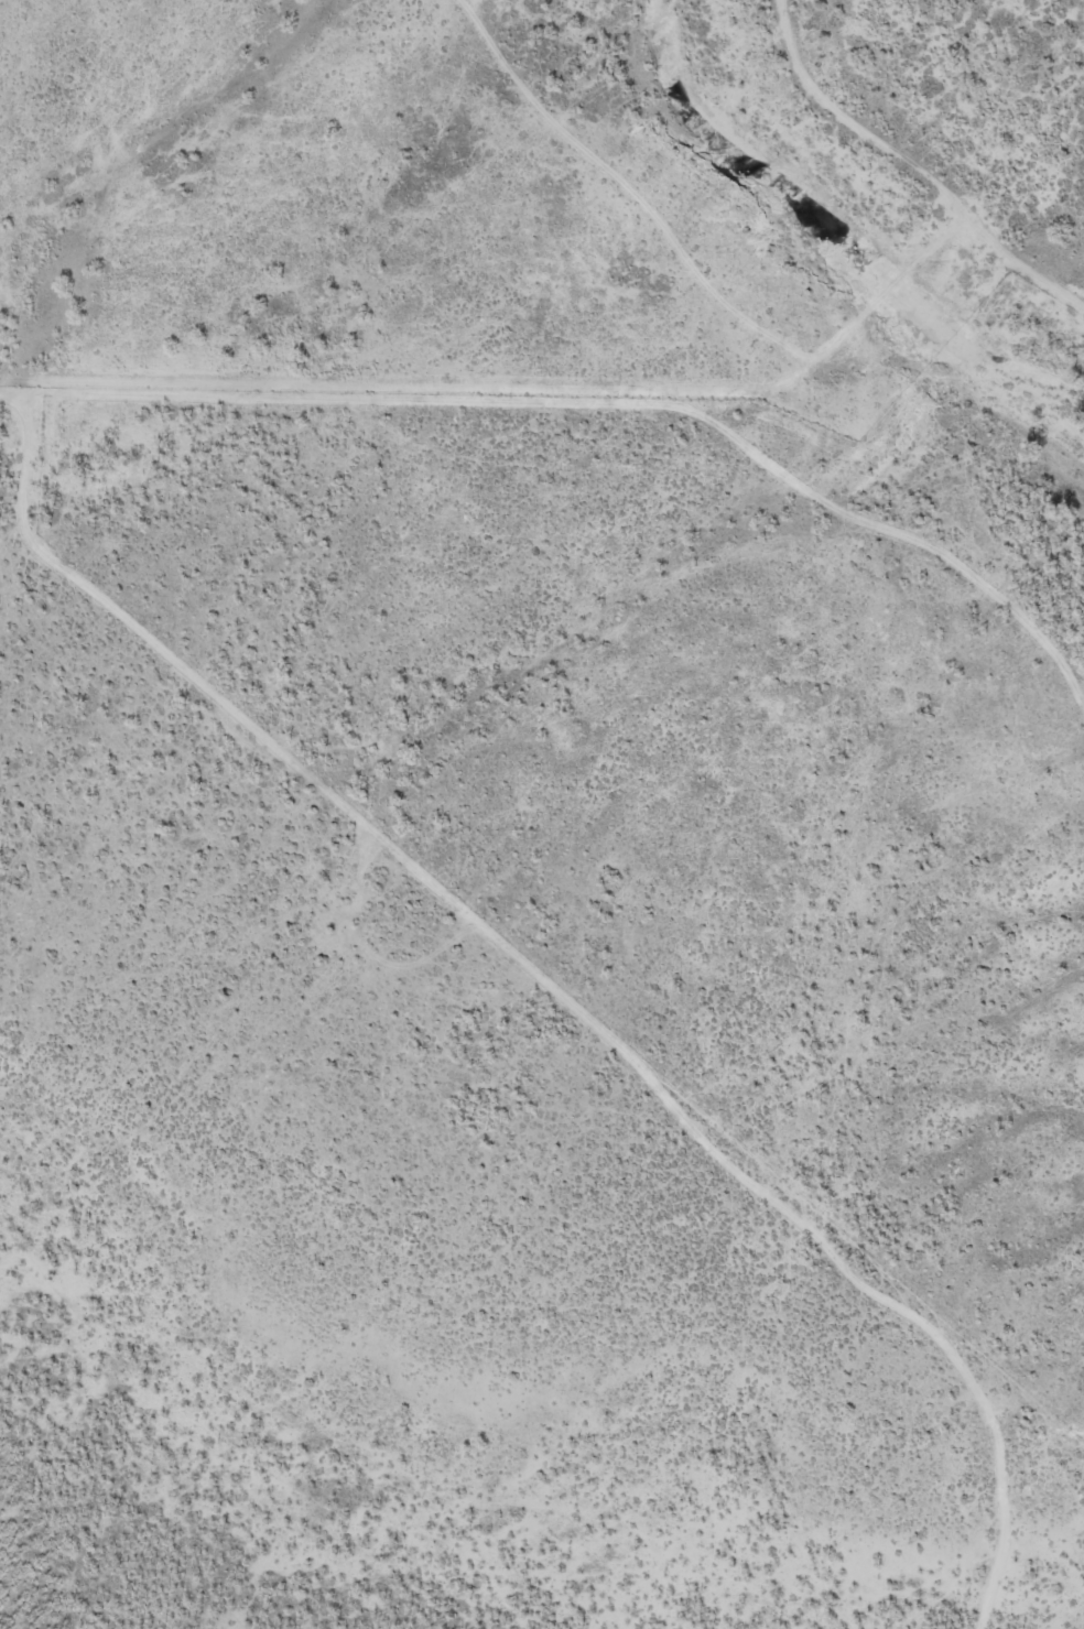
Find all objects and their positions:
road: (914, 164)
road: (630, 191)
river: (830, 245)
road: (837, 339)
road: (595, 402)
road: (553, 985)

